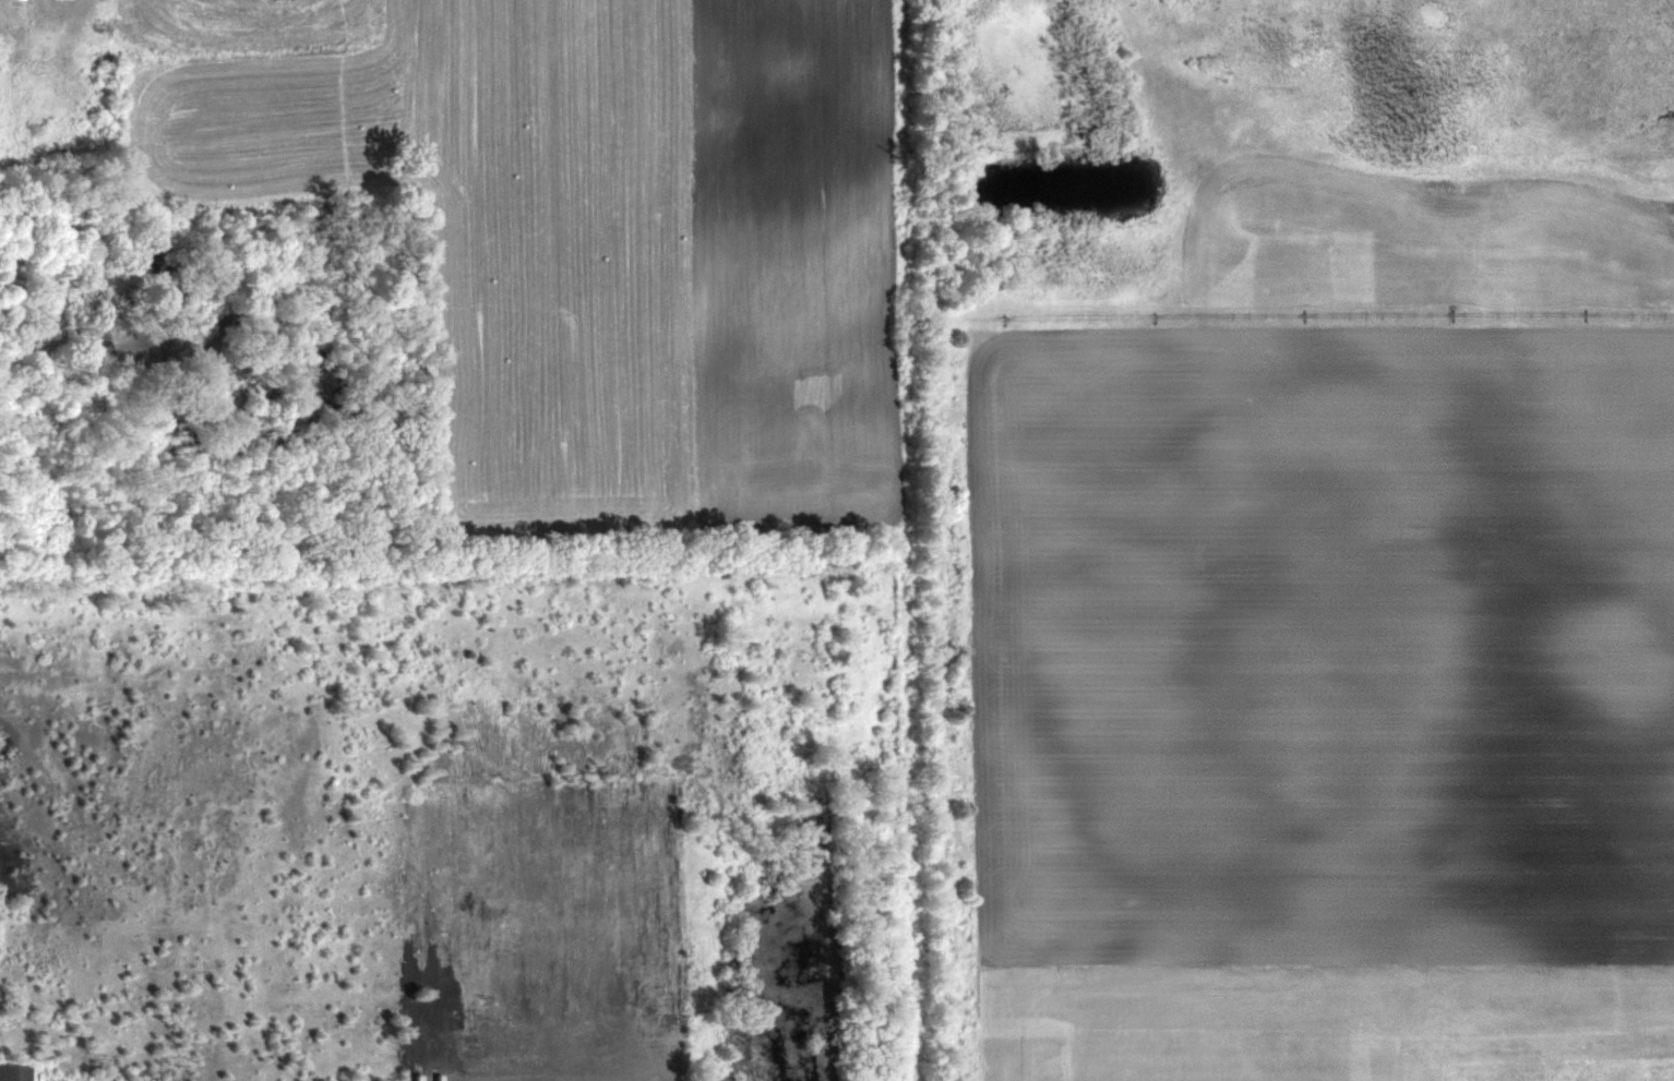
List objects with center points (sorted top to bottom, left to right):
building: (10, 1072)

